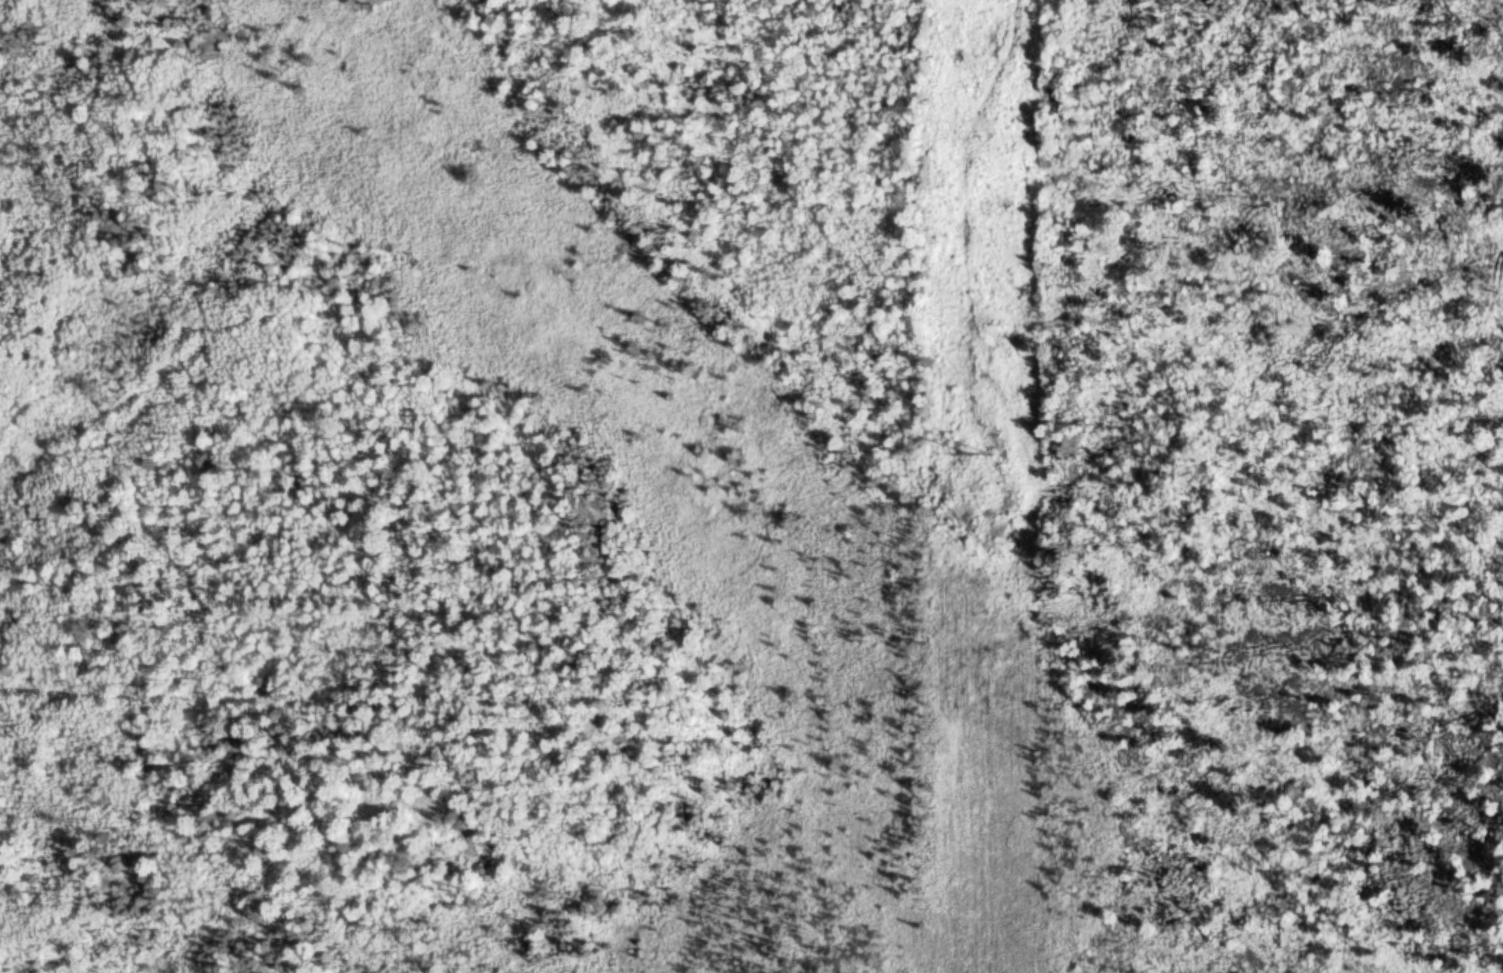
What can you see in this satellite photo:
power tower: (994, 449)

